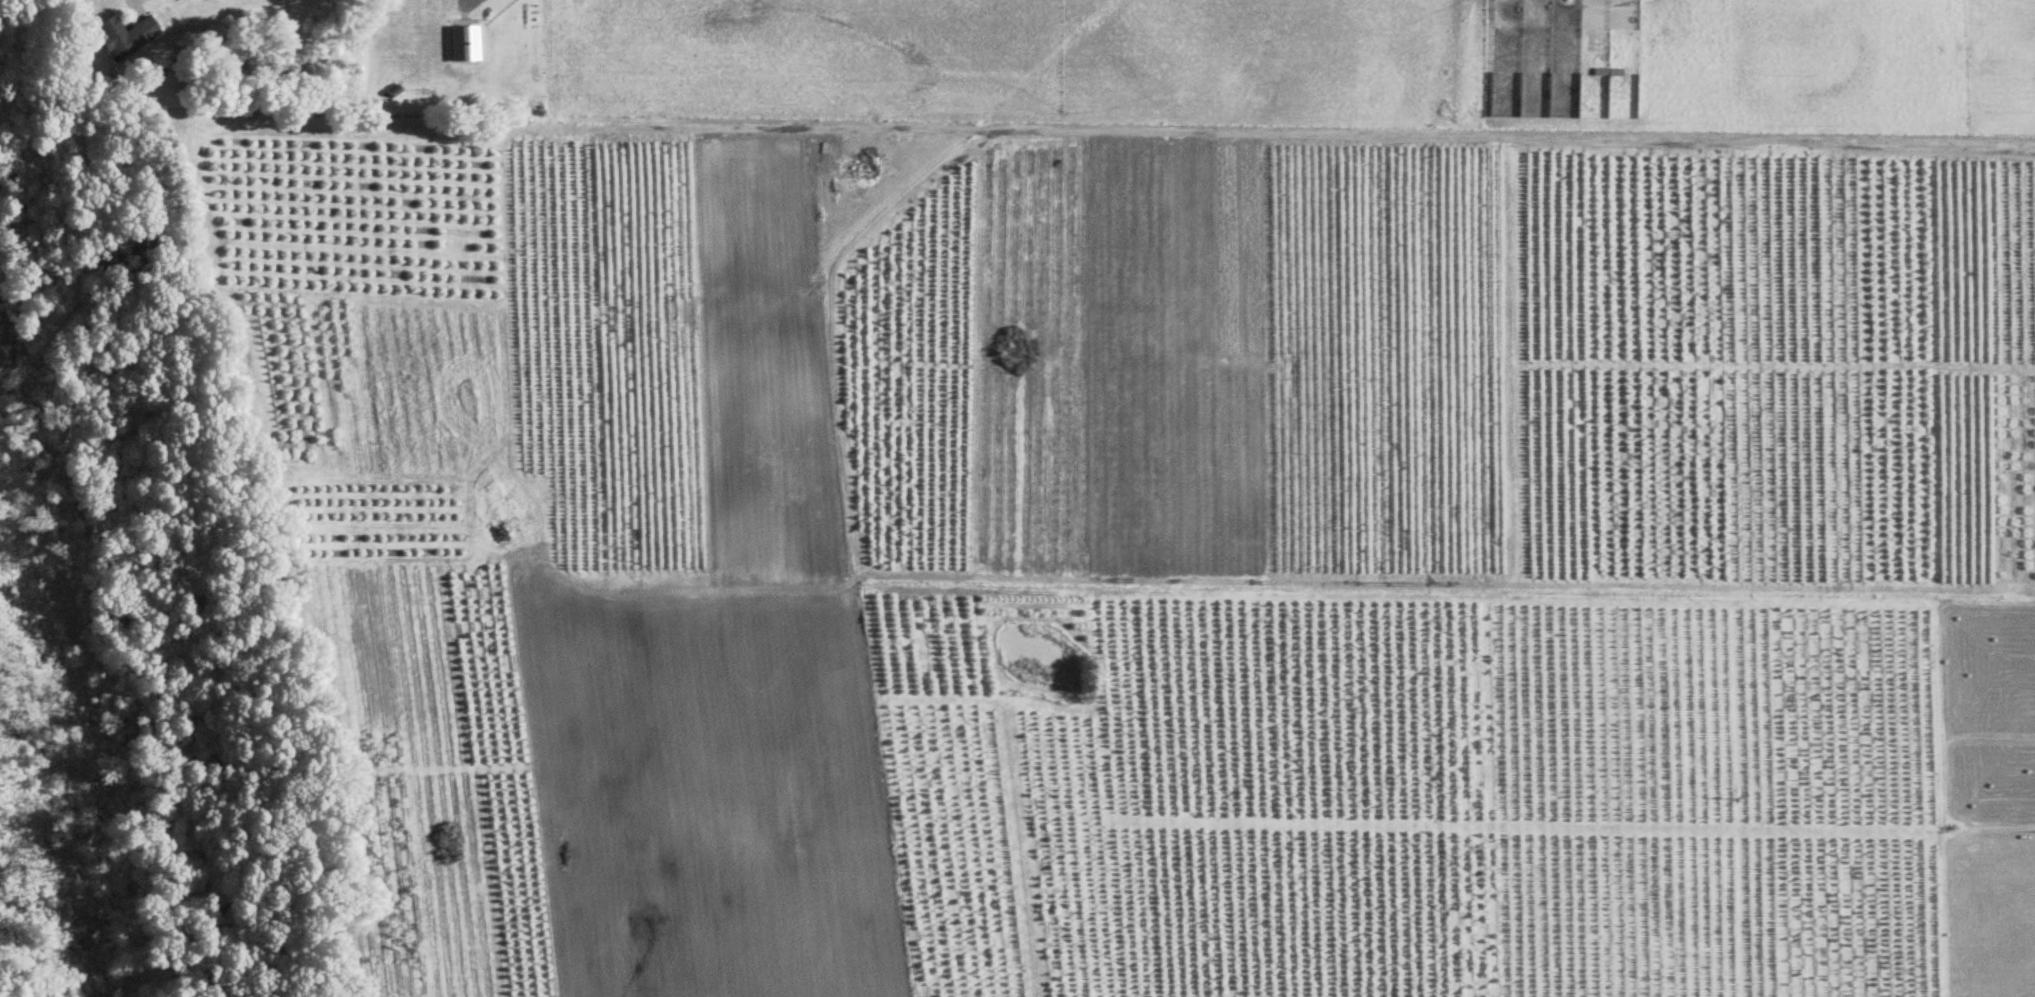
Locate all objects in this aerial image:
building: (125, 38)
building: (465, 45)
crop: (1150, 491)

